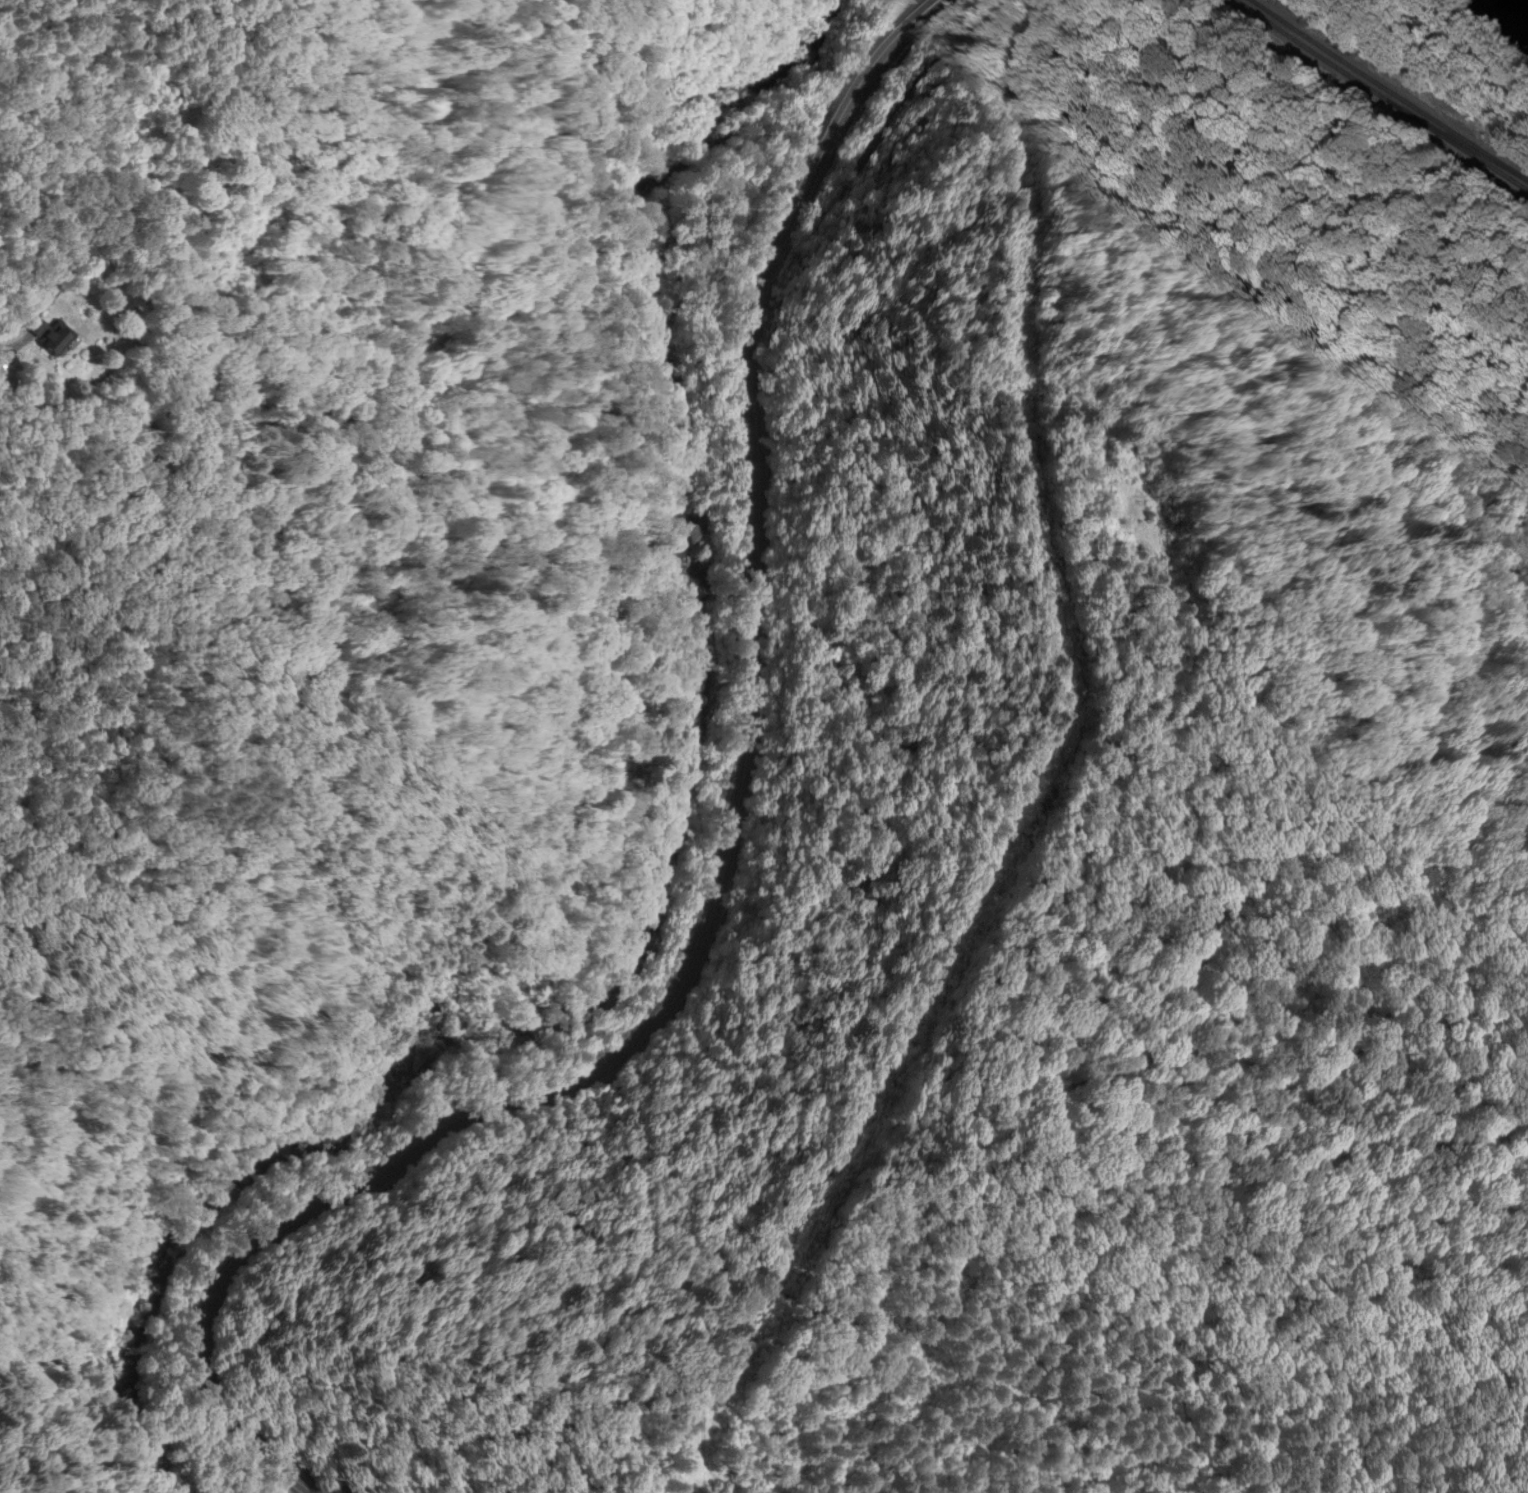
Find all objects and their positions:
railway: (1295, 38)
railway: (1383, 84)
railway: (1432, 123)
railway: (1440, 134)
railway: (1520, 174)
building: (49, 335)
road: (719, 876)
road: (70, 1421)

